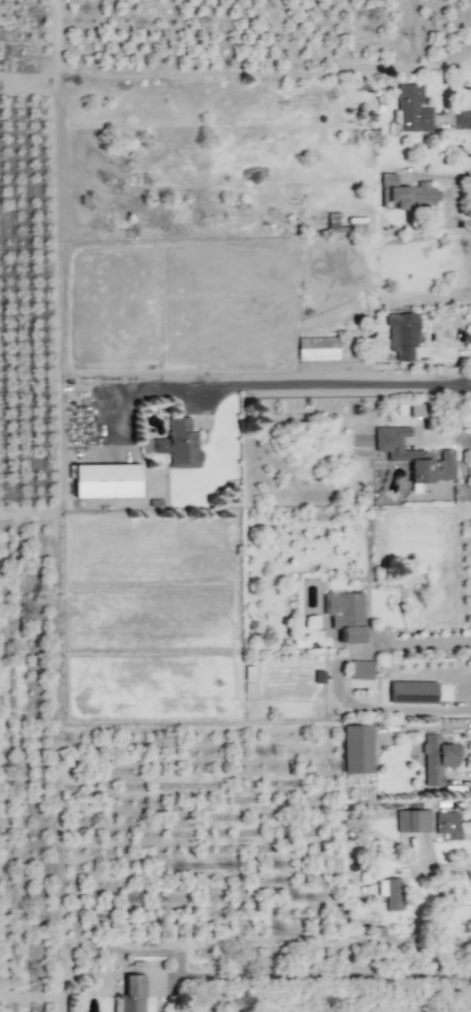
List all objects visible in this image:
building: (412, 109)
building: (405, 194)
building: (402, 335)
building: (317, 349)
road: (292, 384)
building: (418, 410)
crop: (23, 414)
building: (179, 444)
building: (414, 456)
building: (106, 481)
building: (346, 615)
building: (360, 670)
road: (336, 678)
building: (412, 692)
building: (356, 749)
building: (437, 759)
building: (412, 821)
building: (448, 825)
building: (390, 893)
road: (326, 978)
building: (131, 995)

